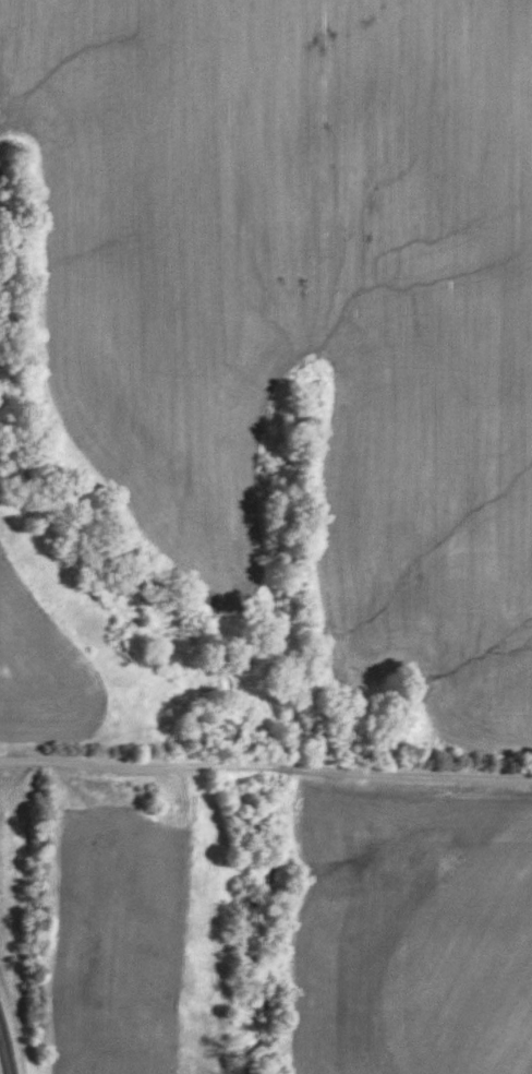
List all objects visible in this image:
road: (4, 1052)

